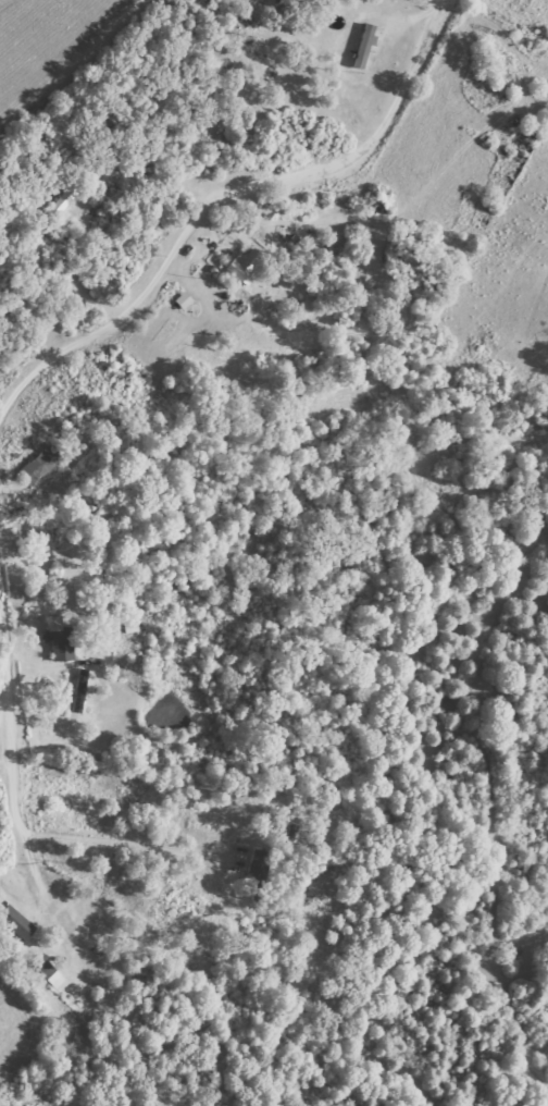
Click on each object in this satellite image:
building: (363, 47)
building: (64, 198)
building: (241, 266)
building: (38, 465)
road: (292, 555)
road: (179, 600)
building: (58, 641)
road: (360, 701)
building: (254, 875)
building: (14, 922)
building: (49, 974)
road: (66, 1074)

